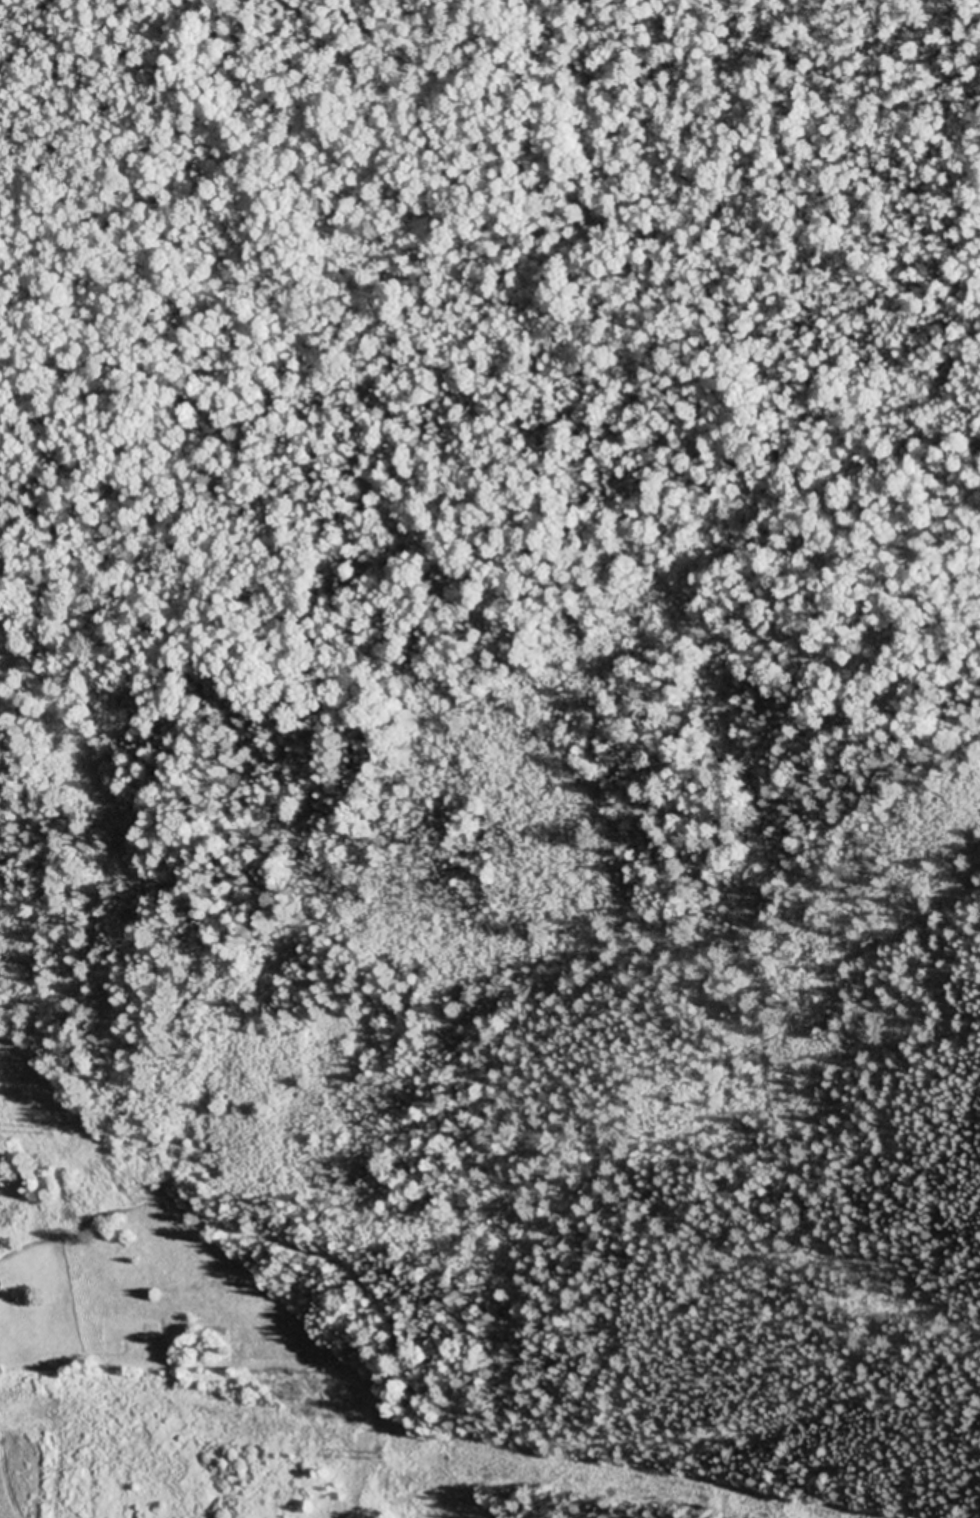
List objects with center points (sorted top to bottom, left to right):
power tower: (58, 1134)
power tower: (388, 1461)

